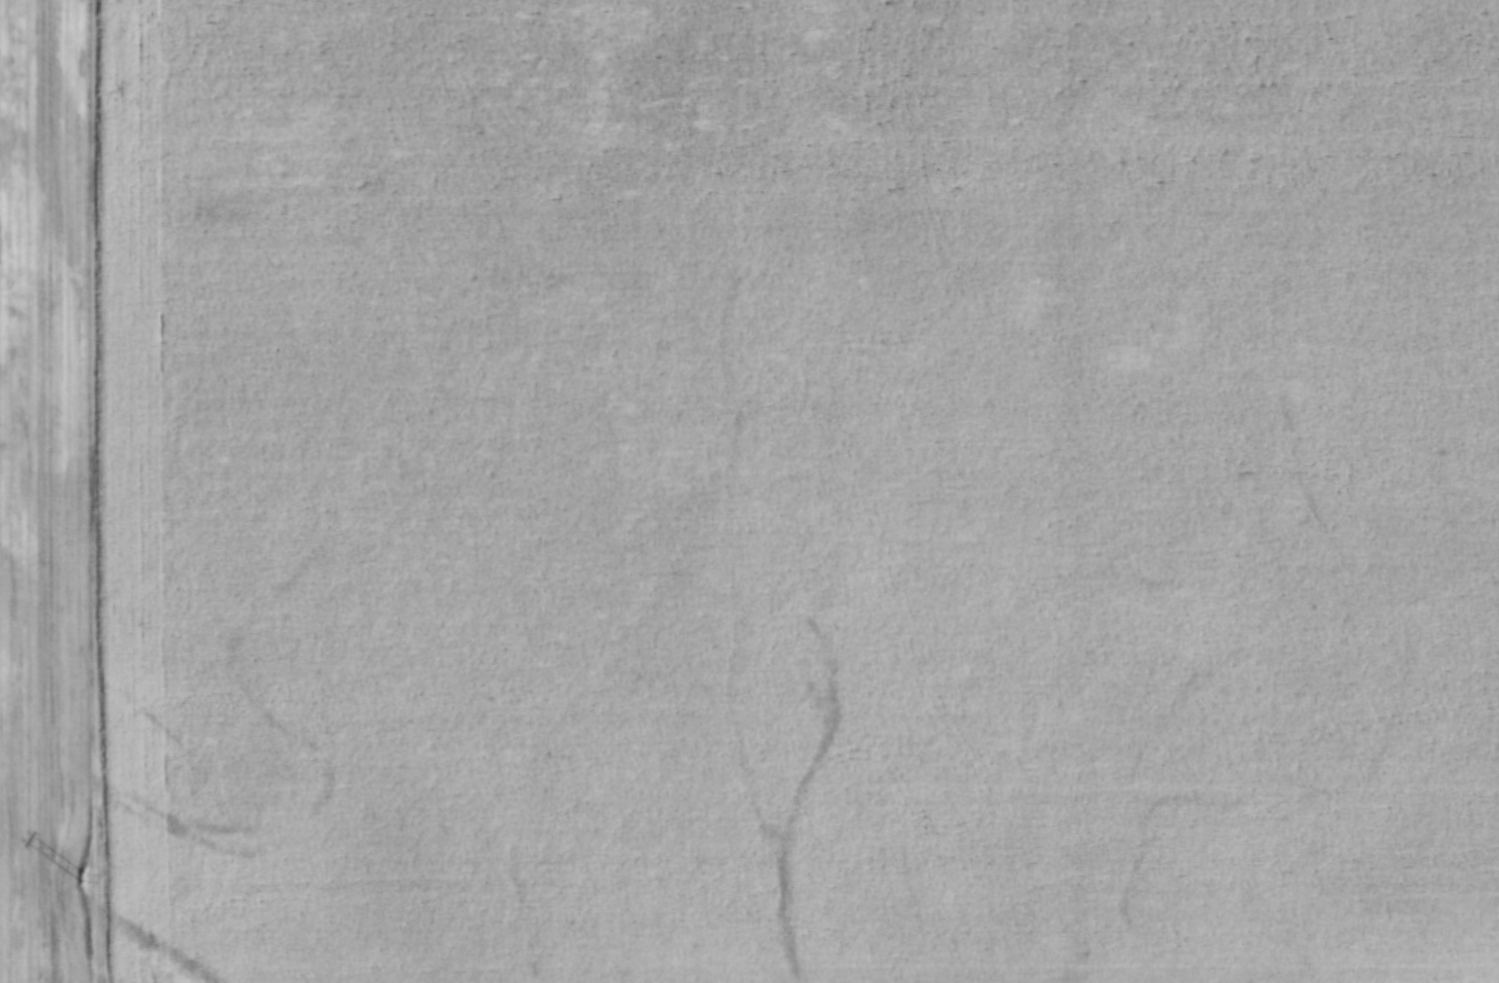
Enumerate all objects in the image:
power tower: (85, 878)

